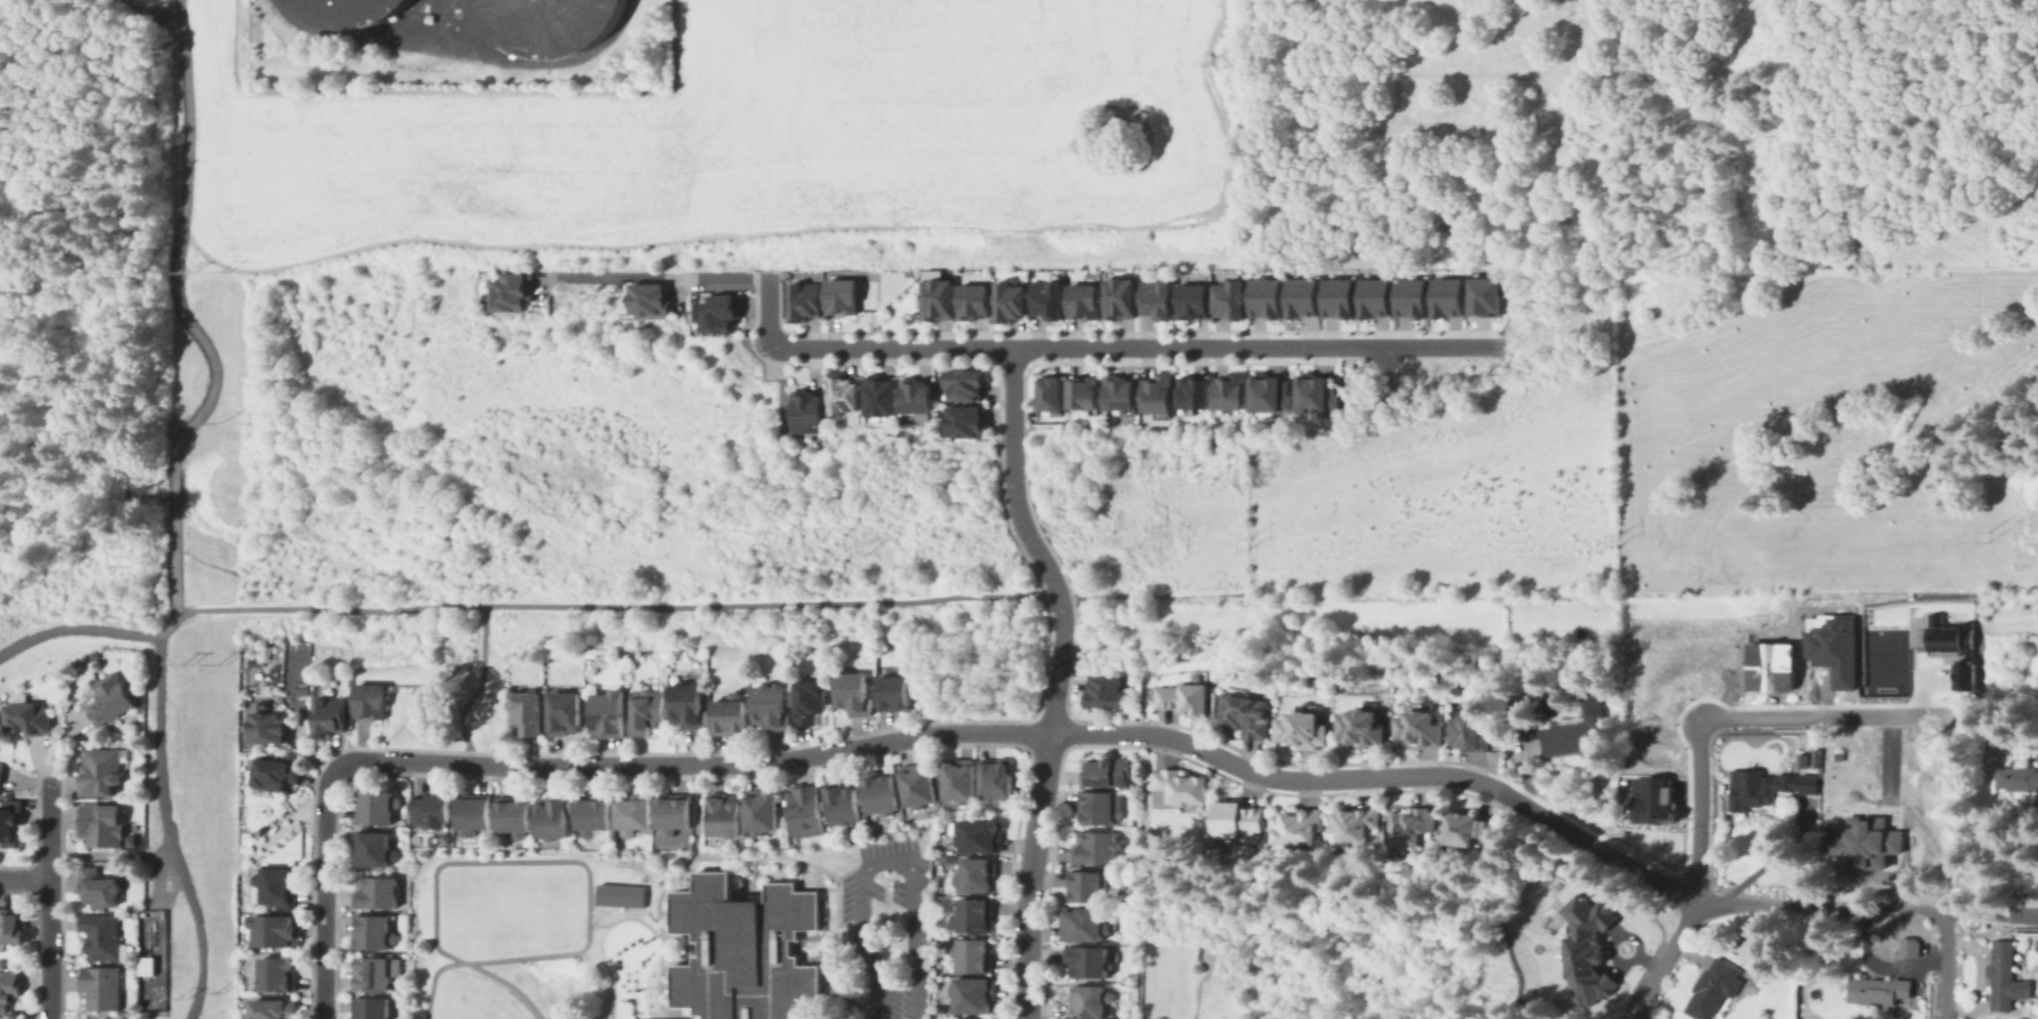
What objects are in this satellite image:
building: (139, 0)
building: (346, 11)
storage tank: (346, 11)
building: (162, 15)
building: (429, 17)
road: (435, 23)
building: (542, 23)
storage tank: (542, 23)
road: (162, 43)
road: (460, 53)
crop: (746, 134)
road: (113, 243)
building: (909, 274)
road: (656, 276)
building: (513, 291)
building: (841, 296)
building: (1049, 296)
building: (1485, 296)
building: (653, 297)
building: (695, 297)
building: (1161, 297)
building: (1341, 297)
building: (1120, 298)
building: (1267, 298)
building: (1377, 298)
building: (1414, 298)
building: (1449, 298)
building: (937, 299)
building: (1303, 299)
building: (1230, 300)
building: (973, 301)
building: (1193, 301)
building: (804, 302)
building: (1010, 302)
building: (1083, 302)
road: (768, 310)
building: (724, 311)
road: (184, 318)
road: (1421, 349)
road: (1058, 350)
road: (1386, 367)
building: (965, 384)
building: (1084, 391)
building: (1193, 392)
building: (1267, 392)
building: (1313, 392)
building: (1120, 393)
building: (846, 394)
building: (1050, 394)
building: (1158, 394)
building: (1228, 394)
building: (879, 396)
building: (916, 396)
building: (811, 407)
building: (966, 421)
road: (127, 428)
park: (575, 467)
park: (1455, 469)
park: (1142, 524)
road: (1157, 591)
road: (1057, 595)
road: (606, 603)
road: (24, 616)
road: (76, 626)
road: (167, 626)
park: (83, 636)
building: (1951, 647)
building: (1833, 648)
building: (93, 654)
building: (1768, 664)
road: (1056, 680)
road: (476, 685)
building: (1587, 687)
building: (302, 691)
building: (896, 692)
building: (1106, 692)
road: (161, 694)
building: (857, 694)
building: (113, 698)
building: (1187, 699)
building: (811, 700)
building: (371, 701)
building: (690, 704)
building: (772, 708)
building: (1591, 708)
building: (649, 712)
building: (566, 713)
building: (1245, 713)
building: (528, 714)
building: (612, 714)
building: (732, 714)
road: (1831, 714)
building: (329, 716)
building: (30, 718)
building: (268, 726)
building: (1361, 726)
building: (1421, 728)
building: (1303, 729)
building: (1469, 731)
road: (926, 733)
building: (1565, 738)
building: (1525, 739)
building: (289, 755)
building: (1836, 756)
building: (1815, 757)
building: (1800, 760)
building: (1109, 772)
building: (2, 773)
building: (103, 773)
building: (275, 774)
building: (996, 778)
building: (2017, 779)
building: (958, 780)
building: (918, 784)
building: (1183, 786)
building: (1766, 789)
building: (879, 793)
building: (1649, 799)
building: (841, 804)
building: (375, 807)
building: (1101, 809)
building: (430, 810)
road: (696, 810)
building: (805, 810)
building: (761, 811)
building: (470, 812)
building: (673, 812)
building: (591, 813)
building: (632, 813)
road: (1694, 813)
building: (512, 815)
building: (550, 816)
road: (1908, 816)
building: (723, 817)
building: (12, 821)
park: (192, 821)
building: (1239, 821)
building: (104, 824)
building: (1356, 826)
building: (1414, 826)
building: (870, 827)
building: (1298, 828)
building: (1468, 828)
building: (979, 836)
building: (1862, 839)
building: (618, 844)
building: (1098, 847)
building: (372, 850)
road: (112, 852)
road: (1603, 853)
road: (739, 856)
building: (948, 858)
road: (889, 860)
road: (559, 862)
road: (1770, 862)
road: (24, 876)
building: (977, 876)
road: (160, 880)
road: (751, 884)
building: (280, 886)
road: (189, 887)
road: (322, 887)
building: (1091, 887)
road: (822, 888)
building: (101, 889)
road: (666, 889)
building: (375, 893)
building: (618, 894)
road: (48, 897)
building: (747, 897)
park: (545, 902)
park: (473, 905)
road: (1869, 908)
road: (636, 911)
road: (663, 911)
building: (973, 915)
parking lot: (890, 924)
building: (1083, 926)
building: (14, 927)
building: (277, 931)
road: (848, 931)
building: (372, 934)
road: (663, 935)
building: (104, 937)
building: (1741, 944)
building: (2037, 944)
road: (801, 946)
building: (1906, 946)
road: (696, 948)
building: (744, 949)
road: (796, 949)
building: (1589, 953)
building: (975, 955)
building: (1088, 963)
road: (1665, 963)
building: (146, 965)
road: (472, 966)
road: (1941, 966)
building: (2005, 974)
building: (277, 975)
building: (371, 976)
building: (391, 985)
road: (657, 985)
building: (104, 988)
building: (10, 990)
building: (1715, 990)
building: (1880, 991)
building: (975, 997)
park: (475, 998)
building: (1091, 1002)
building: (370, 1009)
building: (275, 1010)
road: (654, 1014)
park: (653, 1015)
building: (92, 1018)
building: (971, 1018)

